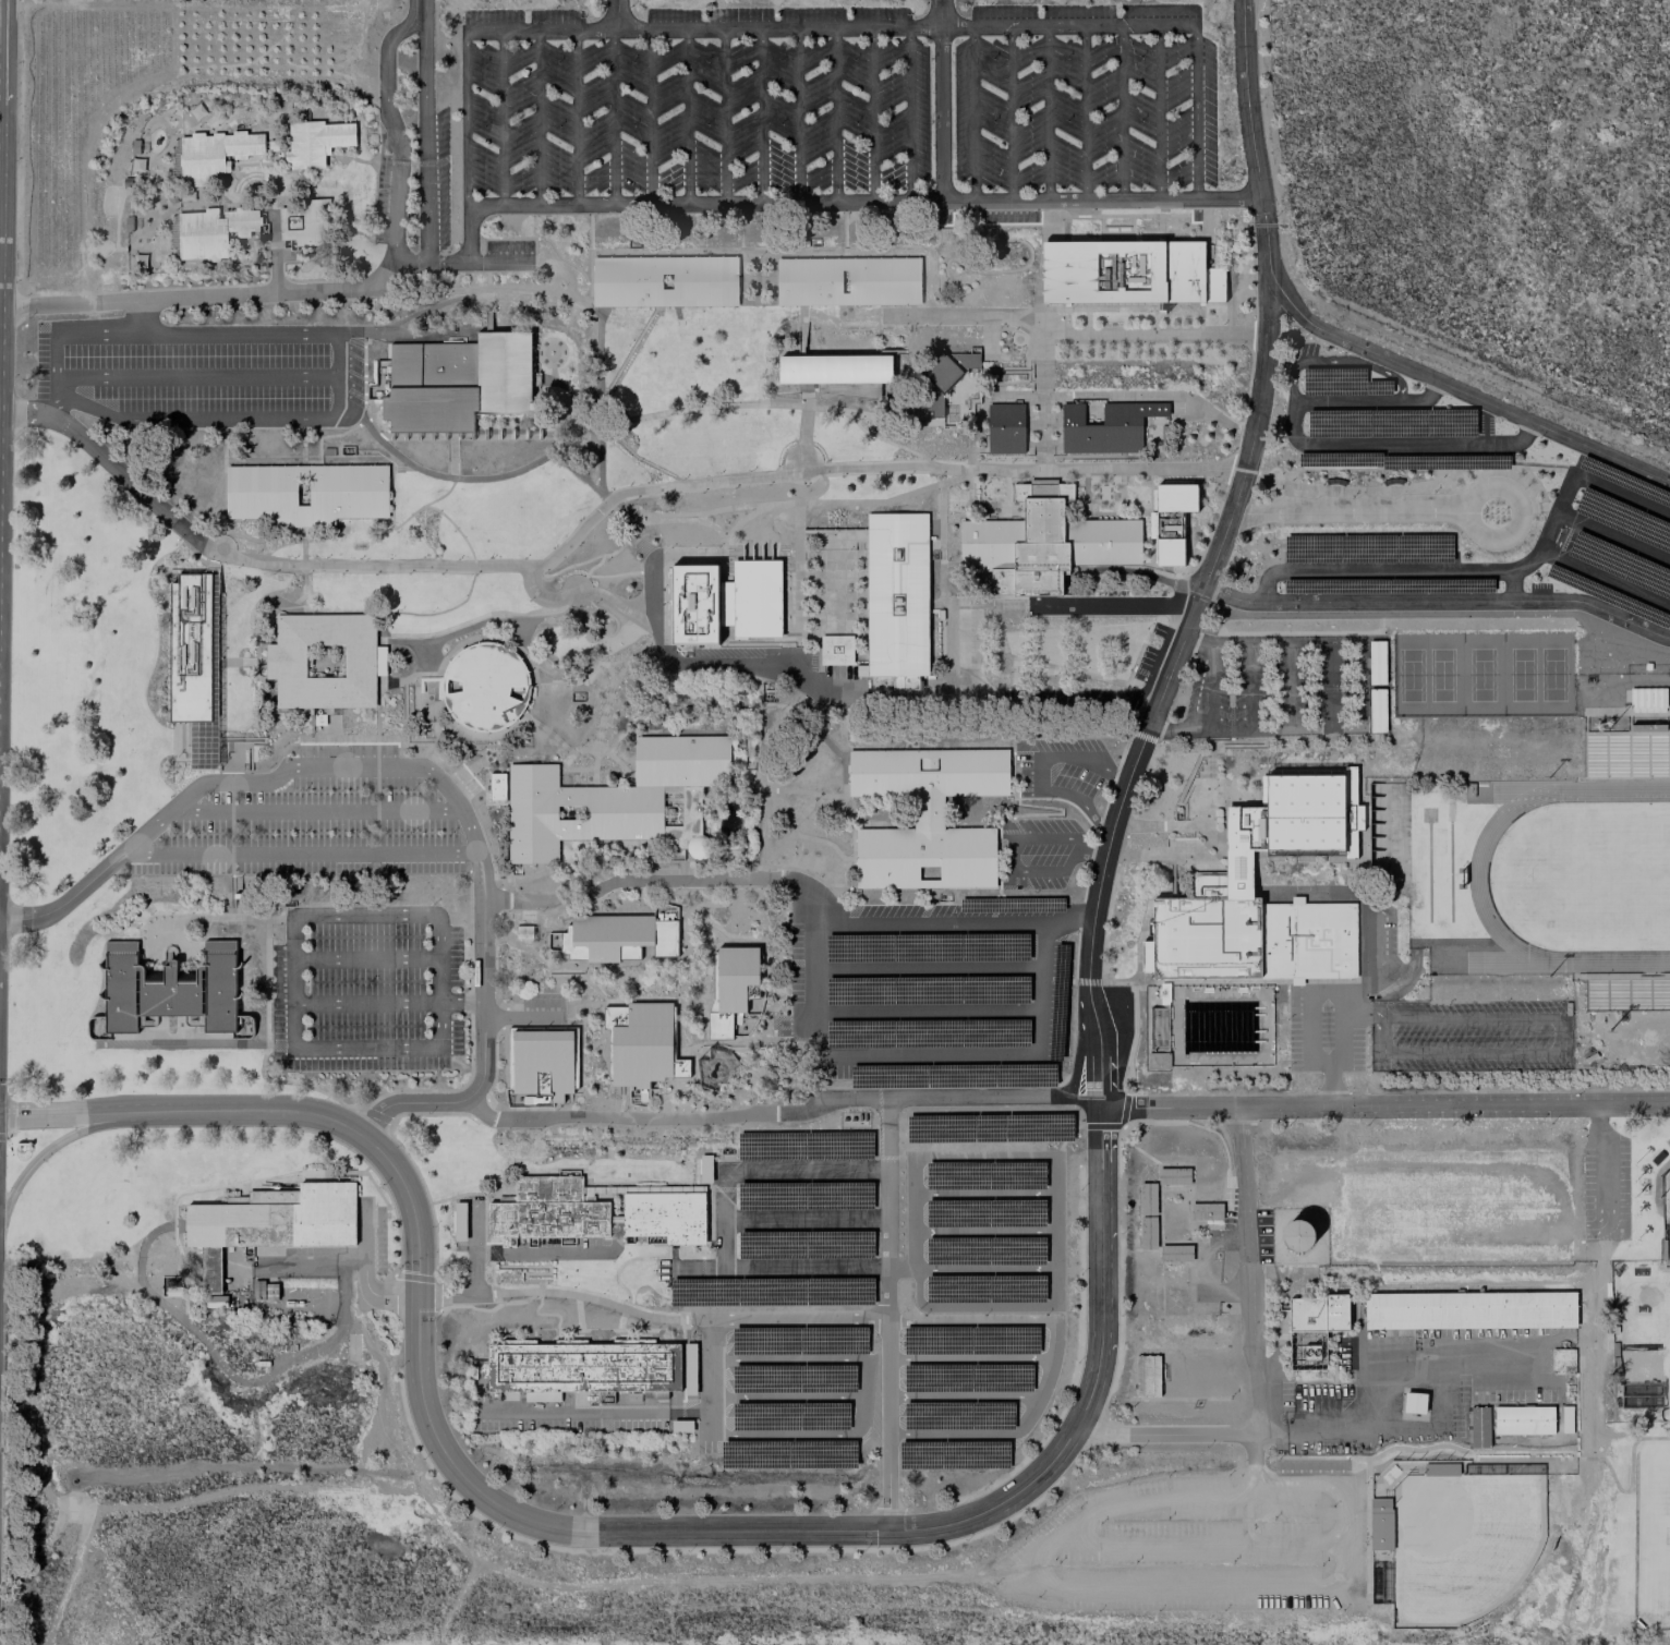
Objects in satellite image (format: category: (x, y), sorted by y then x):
road: (616, 14)
road: (0, 23)
road: (1067, 26)
road: (702, 28)
road: (0, 78)
parking lot: (835, 99)
road: (941, 99)
road: (1159, 111)
road: (1196, 111)
road: (1011, 112)
road: (1048, 112)
road: (1084, 112)
road: (1122, 112)
road: (909, 113)
road: (972, 113)
road: (835, 114)
road: (872, 114)
road: (651, 116)
road: (687, 116)
road: (724, 116)
road: (761, 116)
road: (798, 116)
road: (464, 117)
road: (538, 117)
road: (576, 117)
road: (613, 117)
road: (501, 118)
building: (315, 142)
building: (210, 154)
road: (351, 157)
road: (421, 162)
parking lot: (441, 174)
road: (374, 190)
parking lot: (380, 197)
road: (863, 202)
road: (844, 207)
road: (740, 208)
road: (590, 210)
road: (1130, 215)
road: (1207, 218)
road: (844, 221)
building: (306, 222)
road: (1159, 226)
road: (740, 227)
building: (208, 232)
road: (1150, 232)
road: (465, 233)
road: (1115, 233)
road: (1040, 238)
parking lot: (508, 246)
road: (491, 250)
road: (534, 252)
road: (1029, 252)
road: (273, 253)
road: (739, 253)
road: (845, 253)
road: (557, 254)
road: (1267, 257)
road: (293, 261)
road: (349, 261)
road: (409, 261)
road: (446, 262)
road: (498, 262)
road: (532, 262)
road: (487, 266)
road: (383, 271)
road: (591, 273)
building: (1128, 273)
road: (314, 280)
road: (739, 280)
building: (665, 281)
road: (774, 281)
building: (847, 281)
road: (921, 281)
road: (201, 286)
road: (370, 292)
road: (184, 298)
road: (487, 298)
road: (1036, 304)
road: (1111, 304)
road: (435, 305)
road: (1199, 305)
road: (801, 312)
road: (1225, 315)
road: (138, 317)
road: (1086, 319)
road: (487, 320)
road: (991, 322)
road: (372, 326)
road: (402, 328)
road: (196, 335)
road: (1070, 335)
road: (801, 339)
road: (988, 339)
road: (628, 353)
road: (1341, 362)
road: (911, 363)
road: (53, 366)
road: (1001, 372)
parking lot: (201, 373)
building: (838, 374)
road: (196, 376)
road: (340, 376)
building: (944, 376)
building: (457, 382)
road: (1462, 390)
road: (773, 394)
road: (990, 395)
road: (1167, 396)
road: (807, 401)
road: (1042, 402)
road: (598, 403)
road: (363, 404)
road: (49, 408)
road: (374, 408)
road: (370, 412)
road: (644, 416)
road: (195, 418)
parking lot: (1381, 422)
building: (1104, 426)
building: (1005, 427)
road: (317, 438)
road: (802, 440)
road: (894, 444)
road: (1322, 444)
road: (1084, 456)
road: (641, 460)
road: (1225, 460)
road: (1138, 461)
road: (117, 468)
road: (229, 468)
road: (451, 468)
road: (1222, 469)
road: (574, 472)
road: (1084, 472)
road: (484, 477)
road: (1584, 480)
road: (1006, 488)
road: (1149, 489)
building: (305, 493)
road: (1121, 493)
road: (1085, 494)
road: (605, 495)
road: (893, 498)
road: (424, 504)
road: (1004, 505)
road: (727, 507)
road: (1350, 512)
road: (1520, 512)
road: (941, 516)
road: (638, 517)
road: (589, 519)
road: (657, 520)
building: (1172, 520)
road: (302, 522)
road: (225, 531)
road: (1613, 536)
parking lot: (1608, 539)
building: (1045, 540)
road: (303, 552)
road: (1150, 552)
road: (1150, 565)
road: (303, 569)
parking lot: (1383, 571)
road: (1394, 571)
road: (653, 572)
road: (1154, 577)
road: (1605, 579)
road: (581, 582)
road: (942, 583)
road: (1511, 586)
building: (896, 592)
road: (538, 595)
road: (295, 600)
road: (1439, 602)
road: (939, 603)
building: (694, 604)
road: (619, 608)
road: (292, 613)
road: (508, 613)
road: (380, 622)
road: (968, 632)
road: (1274, 642)
building: (836, 648)
road: (951, 648)
road: (1005, 651)
road: (1049, 652)
parking lot: (1065, 652)
road: (1089, 652)
road: (1127, 652)
building: (324, 661)
building: (1376, 662)
building: (195, 663)
building: (1329, 663)
road: (766, 667)
road: (618, 672)
park: (1481, 673)
park: (1553, 673)
park: (1411, 674)
park: (1441, 674)
park: (1522, 674)
road: (432, 675)
road: (414, 678)
road: (1328, 684)
road: (1368, 684)
road: (382, 685)
building: (485, 685)
road: (1249, 685)
road: (1288, 685)
road: (1209, 686)
parking lot: (1282, 688)
road: (422, 707)
building: (1330, 710)
building: (1376, 710)
road: (600, 721)
road: (1258, 728)
road: (547, 730)
road: (1231, 735)
road: (1042, 736)
road: (217, 741)
road: (1212, 741)
road: (226, 742)
road: (240, 742)
road: (1169, 745)
road: (1256, 745)
road: (223, 747)
road: (600, 747)
road: (476, 758)
road: (237, 761)
road: (536, 761)
road: (231, 762)
road: (231, 770)
road: (240, 771)
road: (1038, 771)
parking lot: (1064, 771)
road: (483, 772)
building: (930, 774)
building: (497, 786)
road: (773, 791)
road: (376, 794)
road: (1178, 797)
road: (1013, 798)
building: (619, 799)
road: (1064, 799)
road: (1120, 800)
road: (486, 802)
road: (316, 811)
road: (1060, 811)
road: (808, 813)
road: (1012, 814)
building: (1312, 814)
road: (231, 823)
road: (1191, 824)
parking lot: (311, 831)
road: (1209, 833)
road: (803, 837)
road: (1094, 837)
road: (1179, 838)
road: (1106, 844)
road: (1214, 846)
road: (300, 852)
parking lot: (1052, 852)
road: (1090, 854)
road: (1163, 855)
road: (1205, 855)
road: (1118, 857)
building: (929, 859)
road: (675, 861)
road: (108, 864)
road: (1063, 868)
road: (721, 869)
road: (482, 874)
stadium: (1539, 879)
road: (663, 880)
road: (238, 893)
building: (238, 896)
road: (497, 910)
road: (210, 917)
road: (1069, 919)
building: (1246, 924)
road: (686, 934)
building: (617, 936)
road: (747, 943)
road: (365, 959)
road: (1043, 959)
road: (294, 960)
road: (1365, 965)
road: (927, 969)
road: (546, 975)
road: (1052, 980)
building: (1251, 980)
road: (1177, 981)
road: (266, 984)
building: (733, 987)
building: (171, 988)
parking lot: (366, 988)
parking lot: (933, 990)
road: (640, 999)
road: (366, 1002)
road: (461, 1002)
road: (581, 1004)
parking lot: (543, 1007)
road: (1309, 1012)
road: (930, 1013)
road: (500, 1017)
road: (519, 1017)
road: (1469, 1017)
road: (704, 1024)
road: (1341, 1027)
road: (675, 1028)
road: (606, 1031)
parking lot: (1322, 1031)
parking lot: (1471, 1035)
road: (1561, 1035)
road: (1379, 1036)
road: (469, 1040)
road: (595, 1041)
road: (723, 1041)
building: (641, 1043)
road: (580, 1048)
road: (1471, 1053)
building: (1158, 1060)
building: (543, 1061)
road: (1128, 1061)
road: (494, 1068)
road: (307, 1086)
road: (1330, 1087)
road: (937, 1094)
road: (1384, 1104)
road: (618, 1105)
road: (477, 1108)
road: (479, 1108)
road: (82, 1113)
road: (433, 1114)
road: (633, 1117)
road: (1181, 1122)
road: (62, 1138)
road: (1121, 1138)
road: (983, 1156)
building: (704, 1169)
road: (806, 1169)
road: (1604, 1170)
building: (1173, 1175)
parking lot: (1605, 1182)
road: (382, 1184)
road: (375, 1188)
road: (983, 1194)
road: (456, 1195)
building: (1148, 1199)
road: (1203, 1200)
road: (1157, 1201)
road: (427, 1202)
park: (1432, 1202)
building: (548, 1210)
building: (1206, 1211)
road: (912, 1212)
road: (1189, 1212)
building: (665, 1215)
building: (277, 1218)
road: (723, 1219)
road: (804, 1219)
building: (459, 1220)
parking lot: (468, 1222)
parking lot: (788, 1223)
road: (1205, 1224)
road: (474, 1226)
parking lot: (984, 1229)
road: (983, 1231)
road: (1054, 1231)
building: (1148, 1232)
road: (365, 1234)
parking lot: (368, 1235)
building: (1297, 1235)
road: (710, 1242)
road: (541, 1250)
building: (1175, 1253)
road: (1193, 1255)
road: (314, 1258)
road: (622, 1261)
road: (701, 1262)
road: (547, 1267)
road: (783, 1268)
road: (903, 1268)
road: (985, 1268)
road: (1250, 1268)
road: (412, 1277)
road: (491, 1281)
park: (1642, 1286)
road: (917, 1287)
building: (264, 1290)
road: (426, 1294)
road: (593, 1297)
building: (215, 1299)
road: (517, 1301)
road: (989, 1306)
building: (1471, 1309)
road: (576, 1310)
road: (888, 1313)
road: (540, 1314)
road: (620, 1317)
road: (740, 1318)
road: (971, 1320)
building: (1314, 1328)
road: (970, 1357)
road: (1379, 1358)
road: (787, 1359)
building: (1563, 1360)
building: (583, 1367)
parking lot: (1187, 1370)
road: (1197, 1370)
parking lot: (975, 1379)
road: (1045, 1383)
parking lot: (731, 1387)
road: (964, 1395)
road: (861, 1396)
road: (785, 1398)
building: (1414, 1402)
road: (594, 1413)
building: (1523, 1419)
road: (1424, 1425)
building: (1478, 1426)
road: (948, 1434)
road: (1165, 1434)
road: (783, 1435)
road: (1254, 1453)
road: (1247, 1507)
building: (1380, 1523)
park: (1651, 1529)
road: (655, 1531)
park: (1453, 1540)
road: (1264, 1541)
parking lot: (1199, 1543)
road: (1079, 1587)

